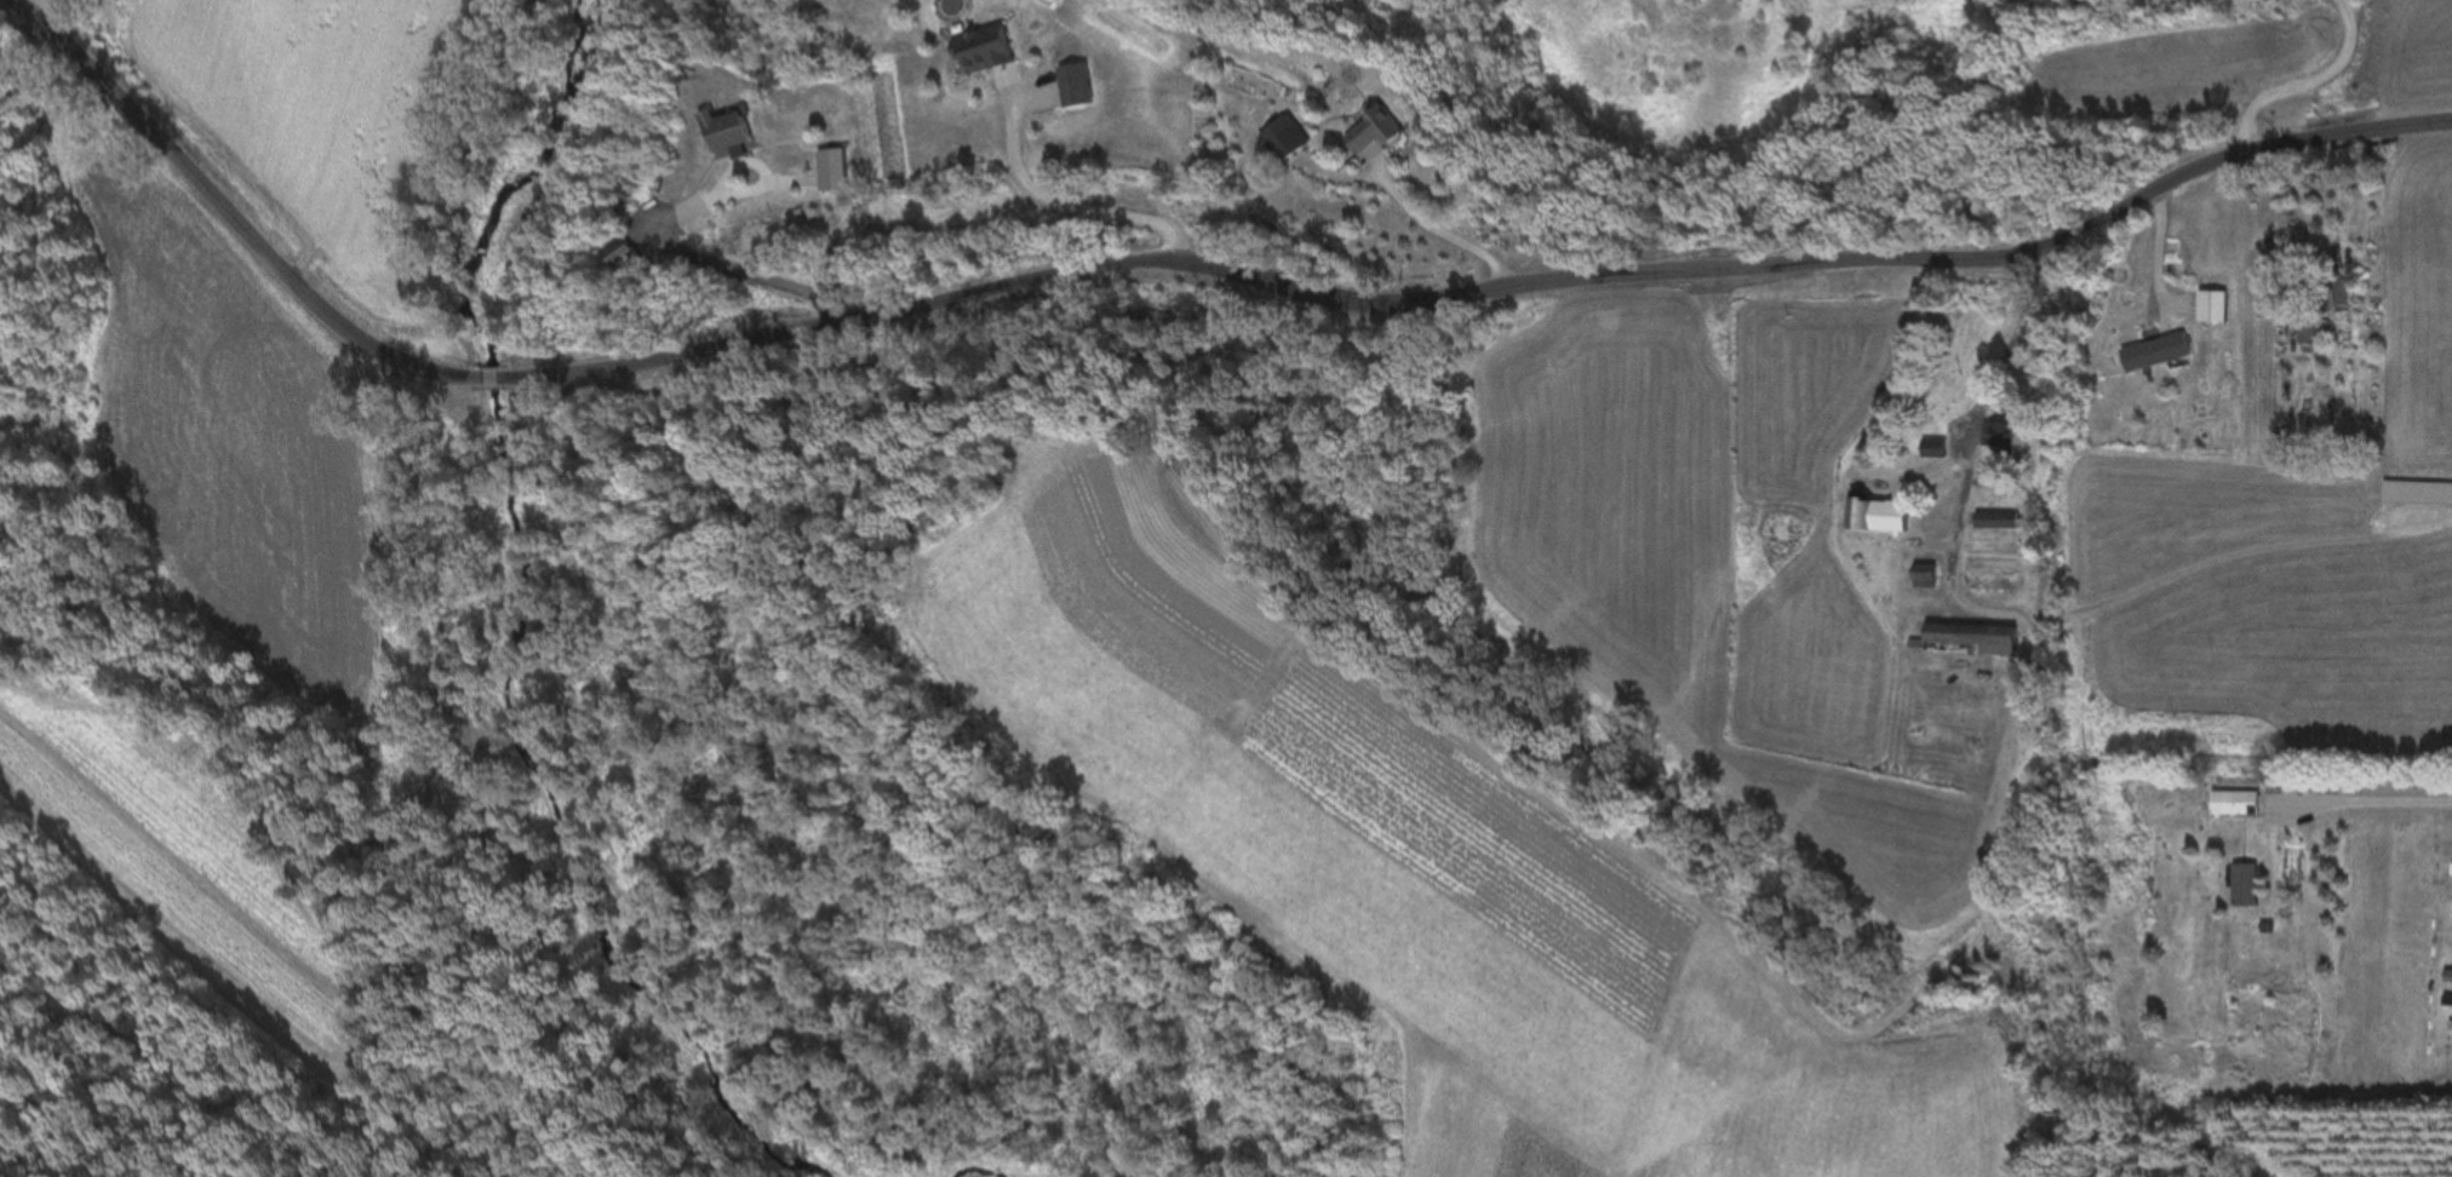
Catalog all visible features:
road: (2296, 81)
road: (1060, 203)
road: (664, 231)
road: (1436, 231)
road: (1163, 268)
road: (2368, 802)

